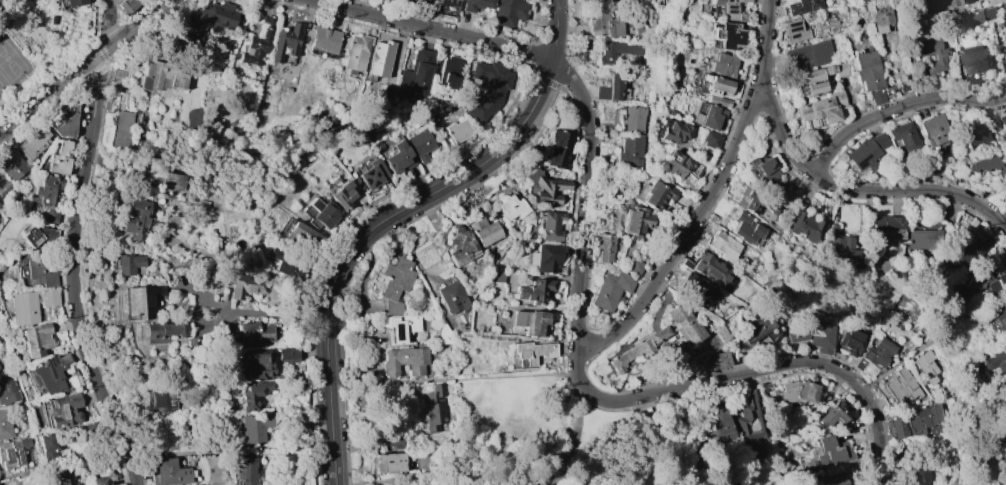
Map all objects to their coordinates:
building: (918, 0)
building: (74, 2)
building: (416, 2)
building: (956, 2)
building: (449, 3)
building: (476, 4)
building: (128, 5)
building: (1005, 5)
building: (802, 6)
building: (730, 9)
building: (509, 12)
building: (979, 16)
building: (881, 18)
building: (210, 19)
building: (1005, 22)
building: (605, 24)
building: (640, 26)
road: (433, 29)
building: (794, 30)
building: (731, 35)
building: (323, 39)
building: (286, 42)
building: (258, 43)
building: (355, 50)
building: (617, 51)
building: (809, 56)
building: (381, 58)
building: (933, 58)
building: (974, 60)
park: (10, 61)
building: (725, 63)
road: (83, 67)
building: (866, 70)
building: (450, 72)
building: (161, 75)
building: (415, 75)
building: (118, 76)
building: (820, 77)
park: (2, 82)
building: (612, 87)
building: (488, 89)
building: (711, 93)
building: (876, 96)
road: (896, 108)
building: (821, 111)
building: (708, 117)
building: (633, 119)
building: (63, 120)
building: (991, 122)
building: (1003, 123)
building: (122, 128)
building: (457, 131)
building: (674, 131)
building: (934, 133)
building: (904, 137)
building: (971, 137)
building: (710, 140)
building: (1004, 141)
building: (420, 142)
building: (34, 143)
building: (559, 149)
building: (630, 153)
building: (864, 153)
building: (60, 158)
building: (398, 159)
building: (13, 164)
building: (678, 165)
building: (987, 166)
building: (372, 174)
building: (763, 174)
building: (155, 176)
building: (545, 186)
building: (5, 189)
building: (46, 191)
road: (862, 191)
building: (343, 194)
building: (657, 195)
road: (712, 197)
building: (753, 202)
building: (510, 206)
building: (322, 213)
building: (51, 216)
road: (390, 216)
building: (136, 218)
building: (636, 220)
building: (551, 226)
building: (804, 227)
building: (885, 227)
building: (745, 229)
building: (484, 231)
building: (38, 235)
building: (301, 235)
building: (924, 237)
building: (721, 245)
road: (76, 246)
building: (461, 246)
building: (605, 246)
building: (838, 247)
building: (972, 250)
building: (546, 258)
building: (287, 262)
building: (127, 263)
building: (635, 267)
building: (37, 270)
building: (711, 270)
building: (497, 276)
building: (982, 282)
building: (395, 284)
building: (245, 285)
building: (697, 289)
building: (535, 290)
building: (611, 290)
building: (452, 297)
building: (49, 298)
building: (139, 301)
building: (24, 308)
road: (267, 313)
building: (1001, 319)
building: (530, 323)
building: (402, 327)
building: (757, 327)
building: (162, 331)
building: (255, 333)
building: (721, 333)
building: (796, 333)
building: (444, 335)
building: (661, 336)
building: (821, 337)
building: (36, 339)
building: (851, 340)
road: (931, 341)
building: (533, 353)
building: (875, 353)
building: (288, 354)
building: (720, 359)
building: (405, 360)
building: (996, 361)
building: (258, 364)
building: (926, 367)
building: (52, 374)
road: (453, 380)
building: (899, 386)
building: (7, 390)
building: (792, 393)
building: (254, 395)
building: (162, 397)
road: (607, 401)
building: (434, 408)
building: (61, 409)
building: (835, 413)
building: (926, 419)
building: (750, 420)
building: (5, 424)
building: (255, 427)
building: (897, 427)
building: (718, 428)
road: (576, 437)
park: (553, 438)
building: (48, 447)
road: (238, 451)
building: (833, 451)
building: (12, 454)
building: (387, 463)
building: (425, 465)
park: (997, 465)
building: (247, 468)
building: (168, 473)
building: (918, 475)
road: (5, 477)
building: (63, 478)
building: (103, 480)
building: (838, 480)

